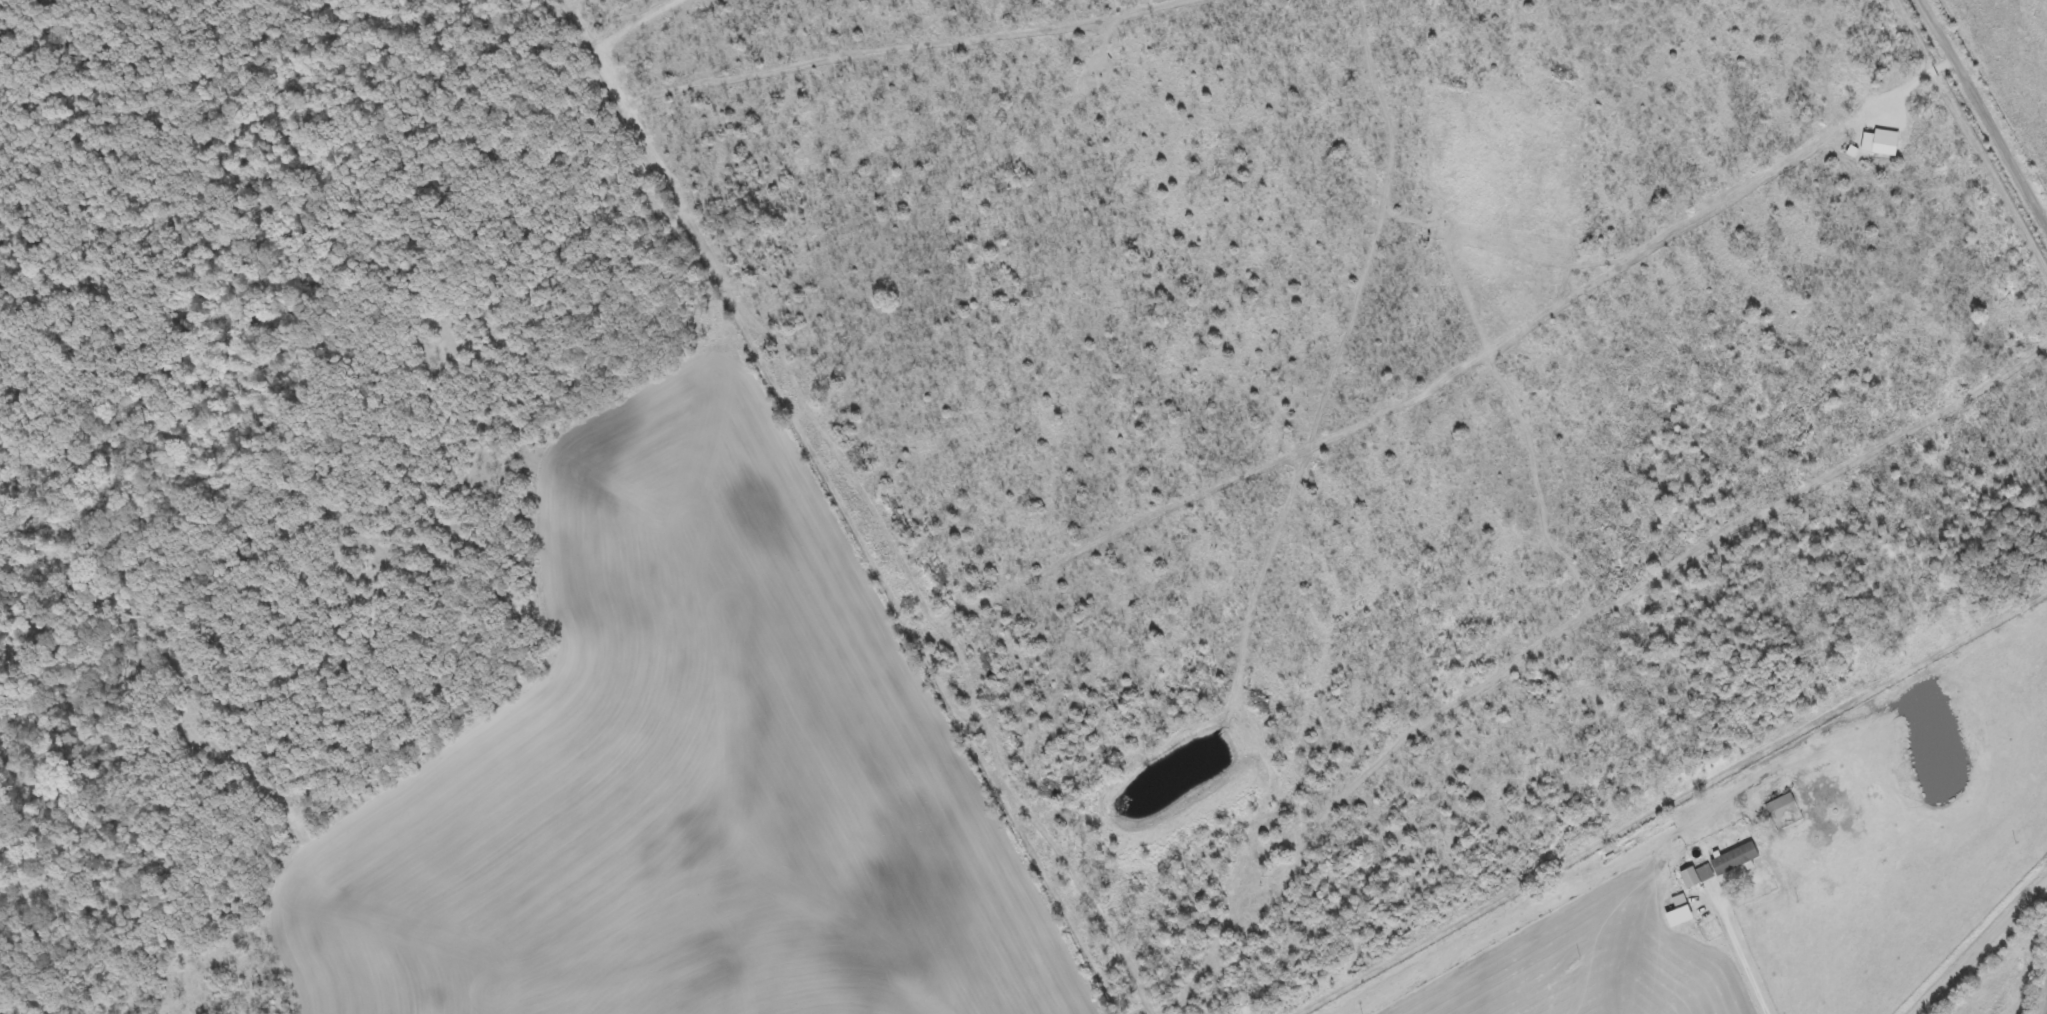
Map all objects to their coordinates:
road: (1986, 108)
building: (1884, 143)
building: (1737, 860)
building: (1700, 877)
road: (1985, 952)

